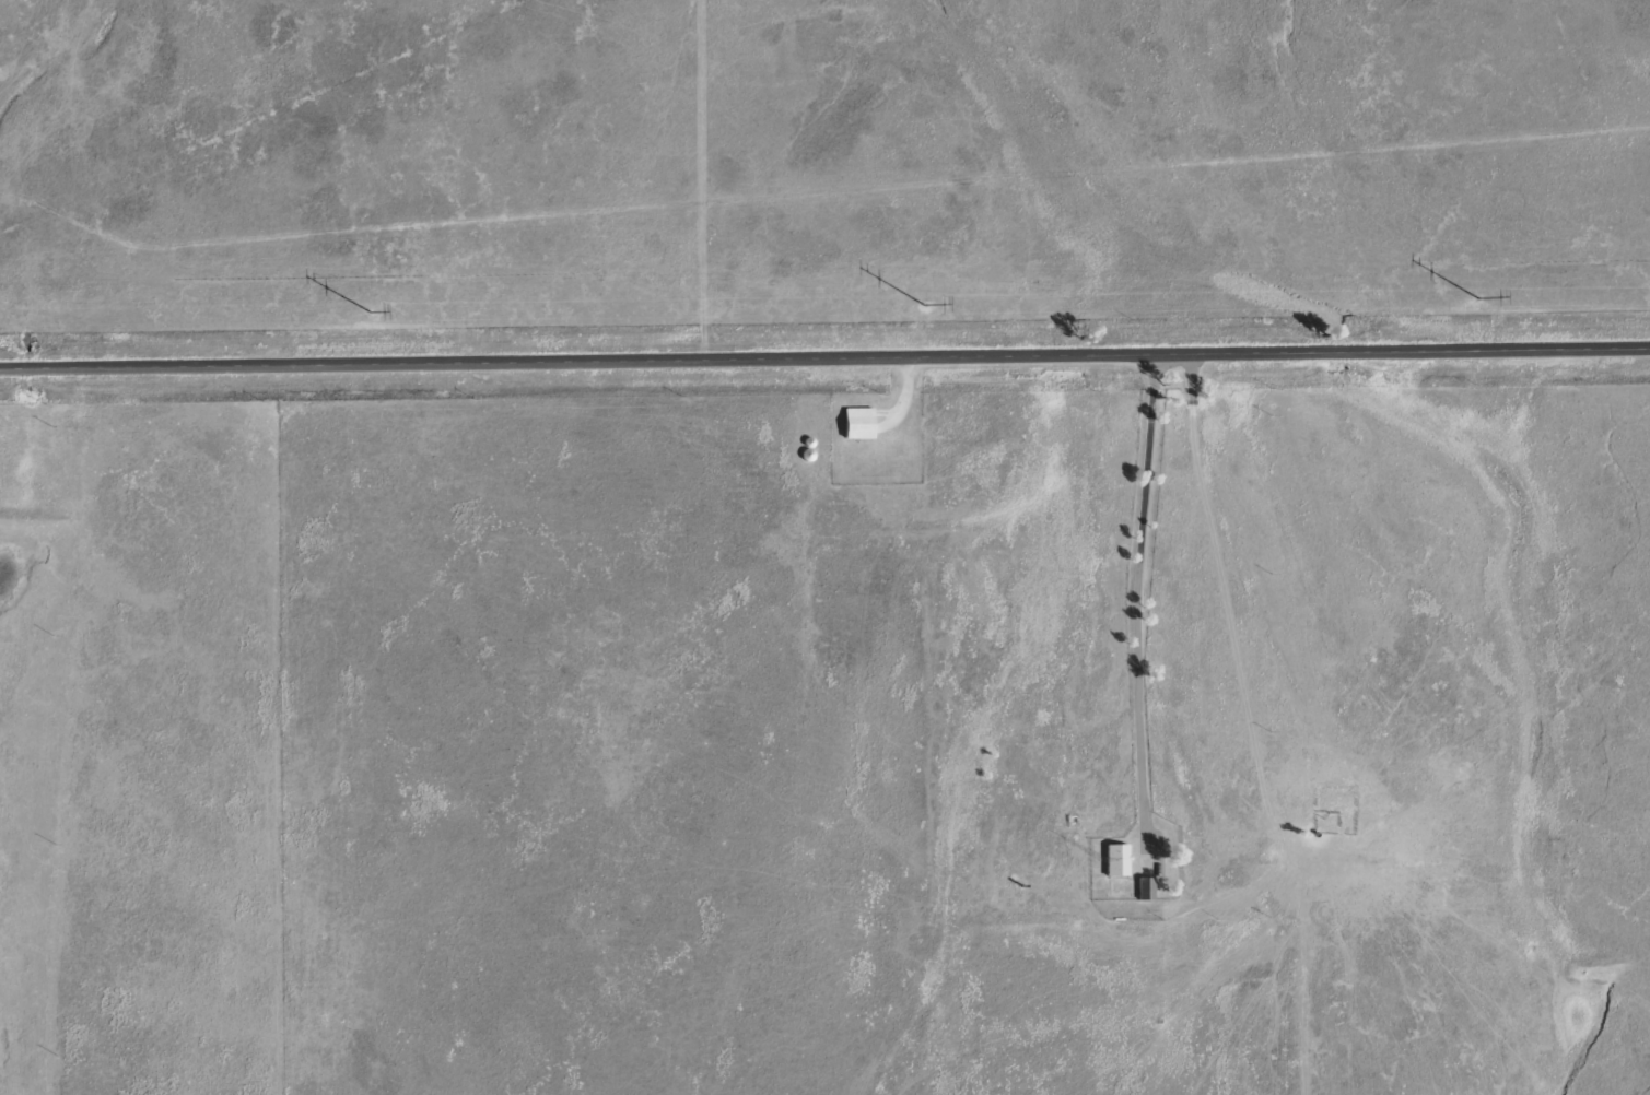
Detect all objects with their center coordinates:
power tower: (1477, 297)
power tower: (922, 304)
power tower: (367, 313)
road: (824, 355)
building: (863, 421)
road: (1154, 574)
building: (1121, 858)

